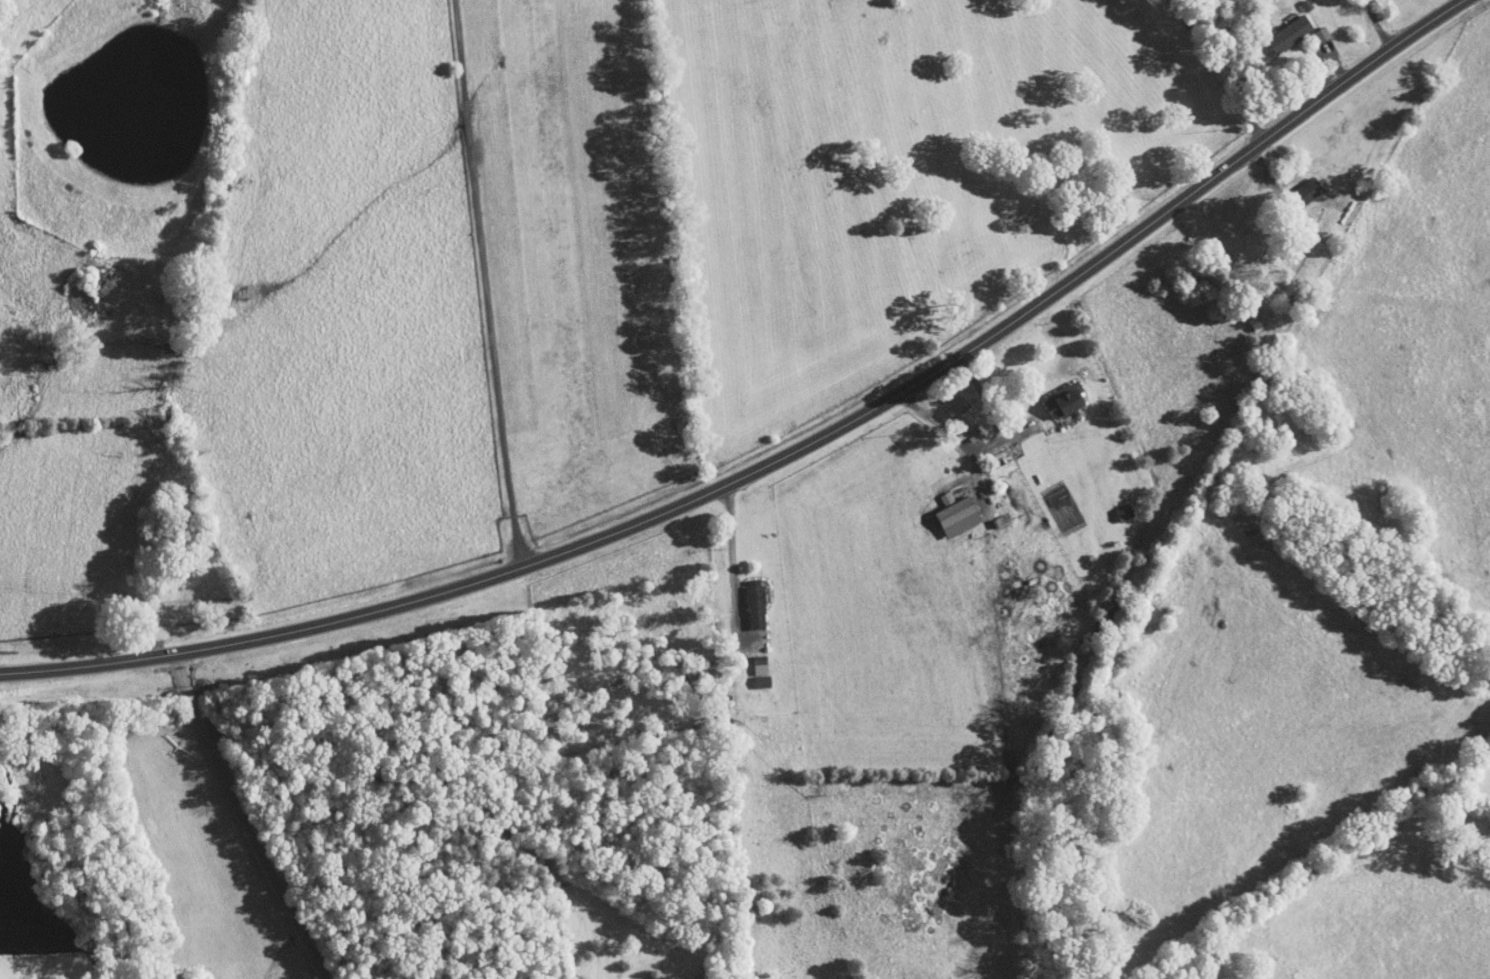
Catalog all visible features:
road: (1378, 25)
building: (1281, 26)
road: (1313, 61)
road: (1238, 94)
building: (1298, 183)
airport runway: (560, 240)
airport: (581, 250)
road: (486, 284)
building: (1057, 393)
road: (988, 407)
road: (926, 411)
building: (954, 411)
road: (786, 456)
building: (937, 491)
road: (766, 509)
building: (949, 509)
road: (732, 553)
building: (746, 598)
road: (232, 816)

